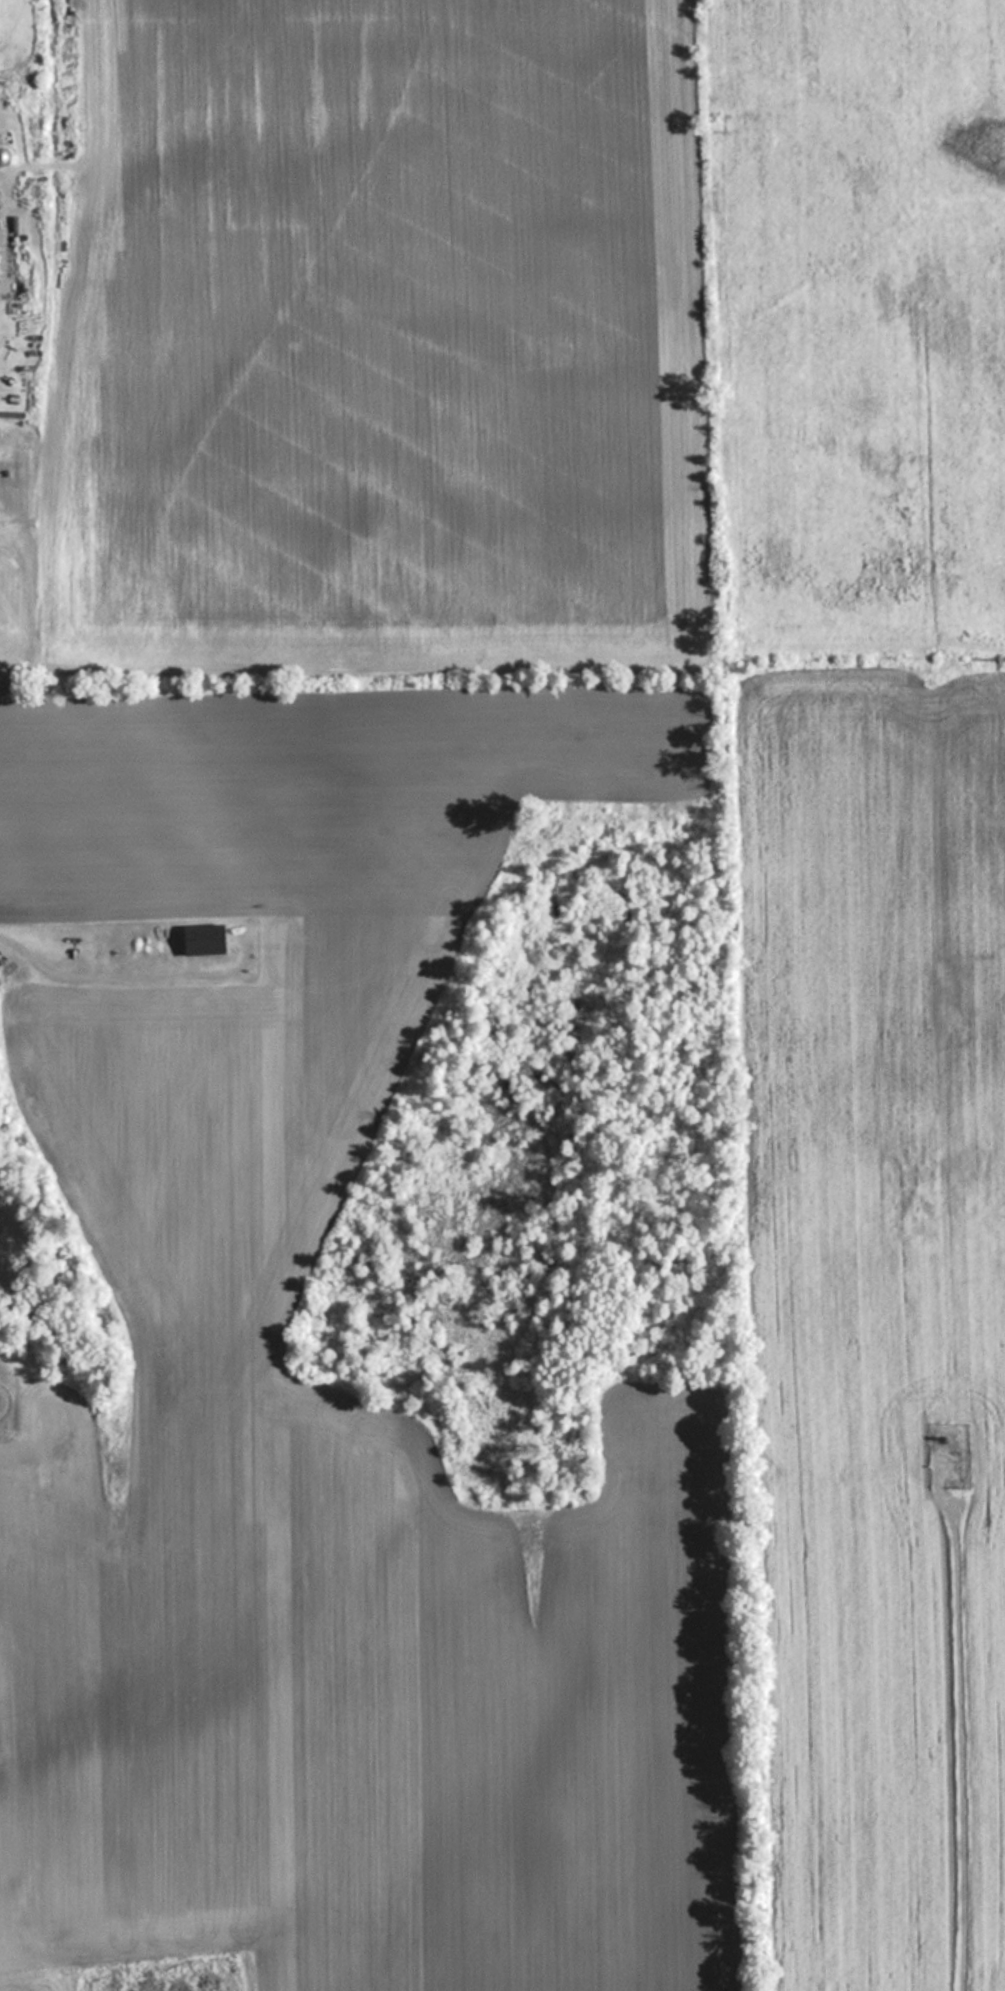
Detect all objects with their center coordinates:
building: (4, 156)
building: (199, 939)
road: (955, 1733)

